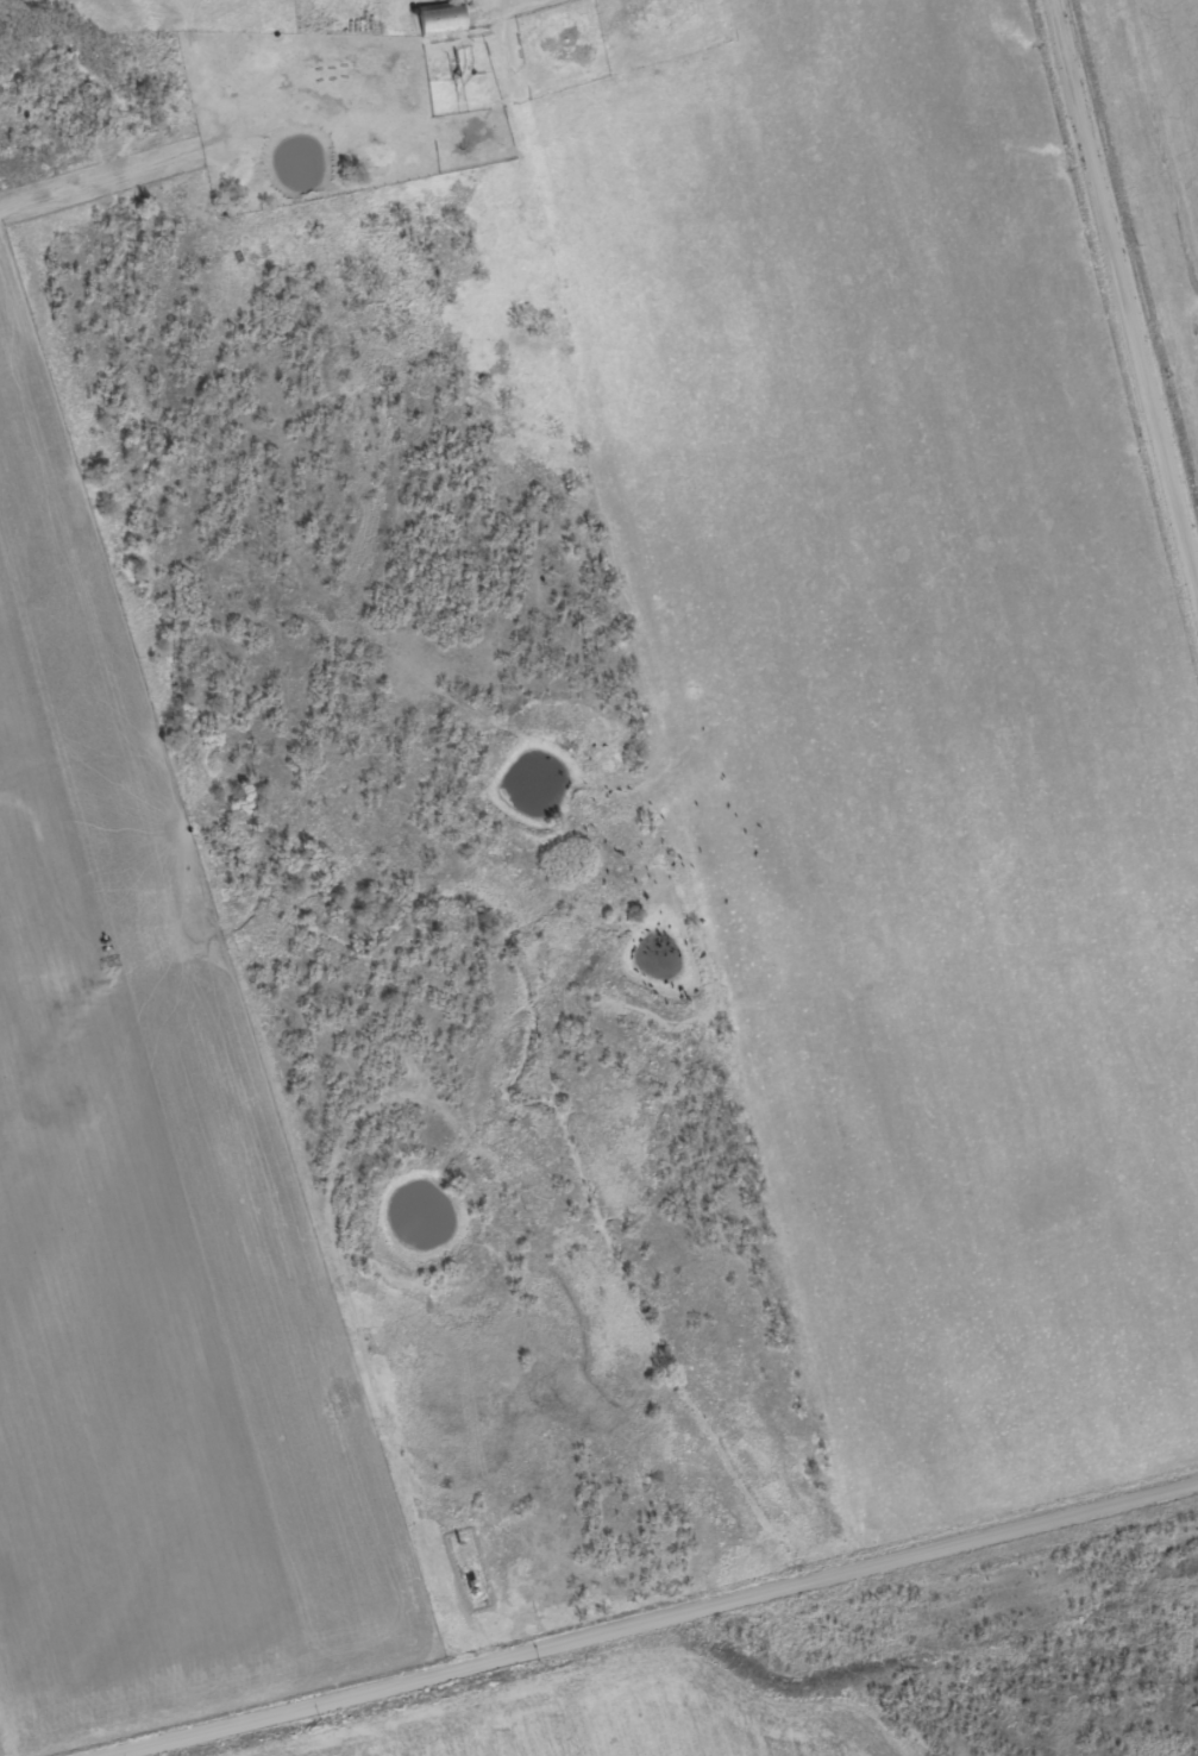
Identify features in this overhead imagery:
building: (444, 20)
road: (1124, 294)
road: (694, 779)
road: (646, 1618)

